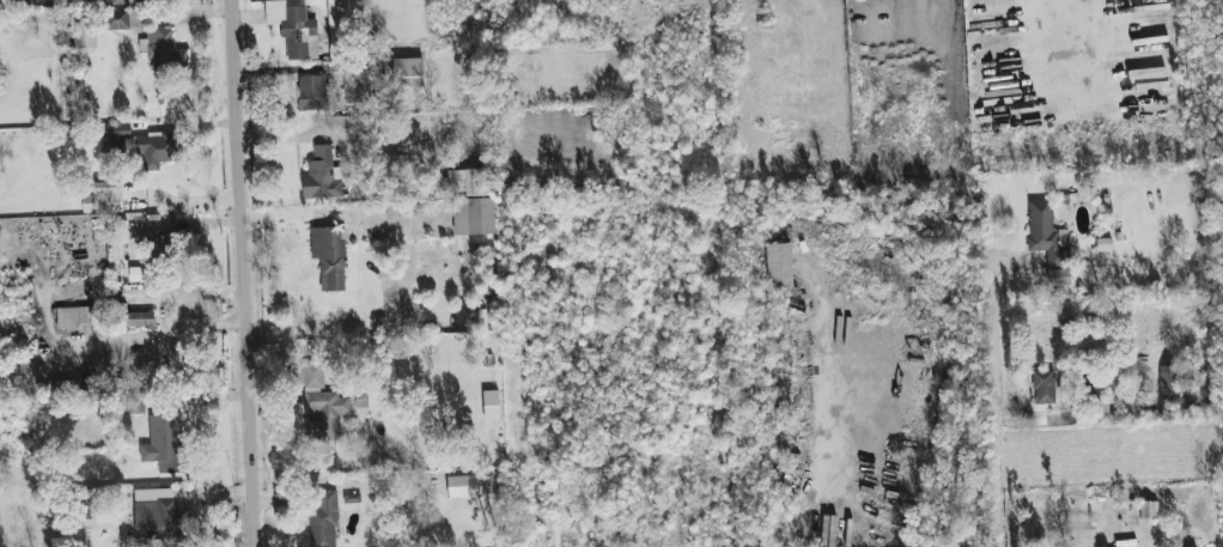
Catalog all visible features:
building: (123, 1)
building: (2, 4)
building: (123, 19)
building: (337, 26)
road: (1072, 28)
building: (293, 29)
building: (81, 36)
building: (163, 50)
building: (407, 72)
building: (358, 89)
building: (311, 92)
building: (140, 145)
building: (322, 176)
building: (467, 182)
building: (103, 197)
building: (471, 217)
building: (1046, 233)
building: (329, 257)
building: (778, 266)
road: (244, 273)
building: (1058, 276)
building: (73, 318)
building: (139, 320)
building: (1168, 381)
building: (68, 388)
building: (1041, 394)
road: (994, 399)
building: (320, 402)
building: (134, 403)
building: (491, 406)
building: (164, 443)
building: (469, 486)
building: (156, 516)
building: (323, 518)
building: (827, 530)

